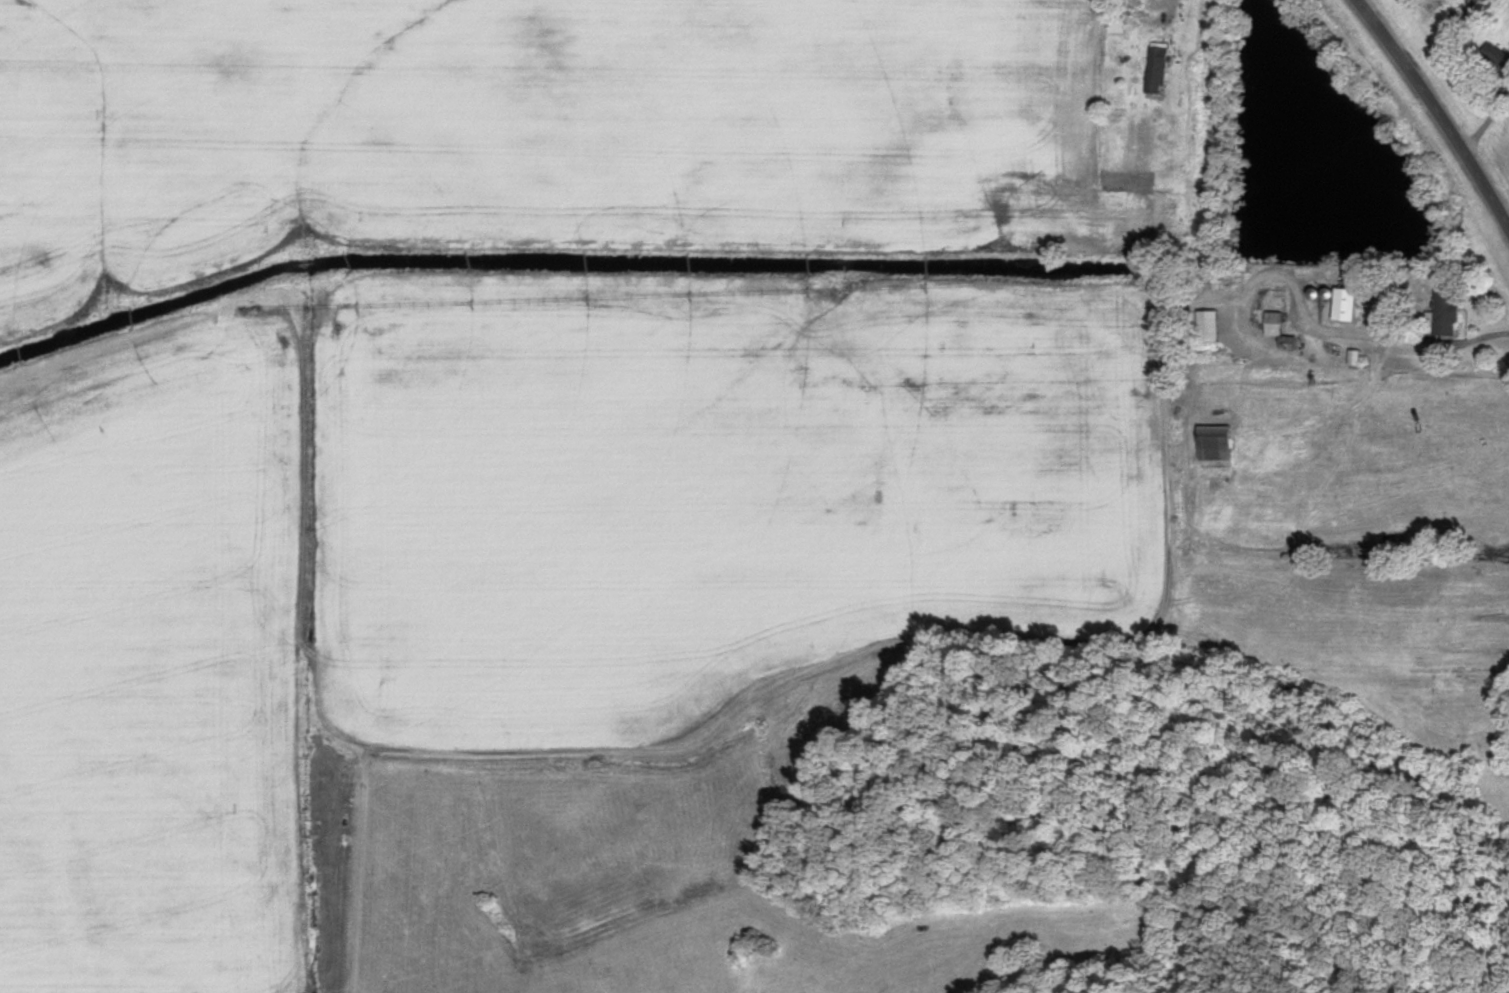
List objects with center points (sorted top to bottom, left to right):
building: (1118, 17)
building: (1496, 57)
building: (1158, 69)
road: (1440, 109)
building: (1347, 304)
building: (1275, 306)
building: (1446, 310)
building: (1210, 326)
building: (1291, 344)
building: (1215, 441)

